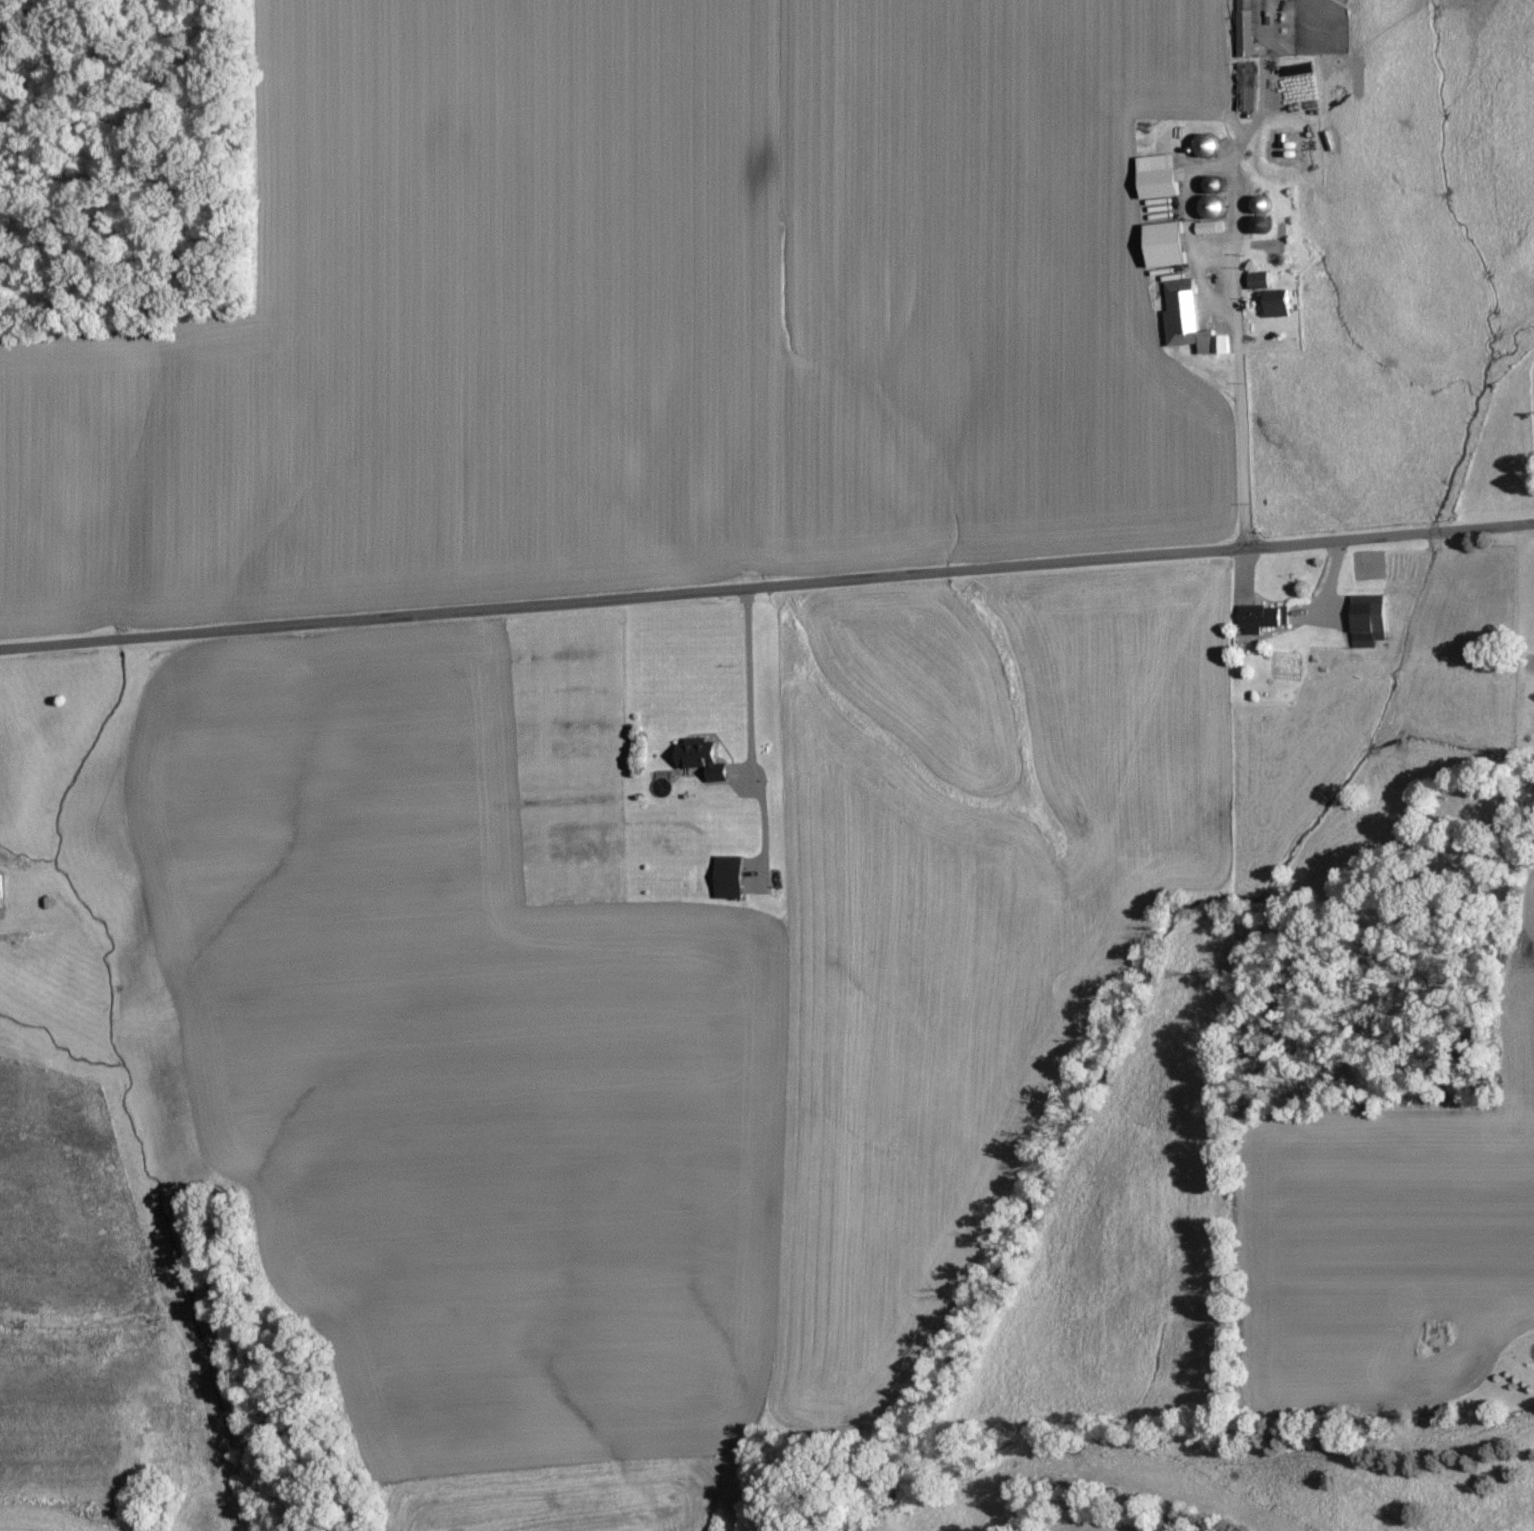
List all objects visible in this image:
building: (1242, 29)
building: (1156, 177)
building: (1163, 245)
building: (1257, 281)
building: (1279, 308)
building: (1187, 321)
road: (1239, 420)
road: (767, 590)
building: (1260, 618)
building: (1365, 620)
road: (744, 690)
building: (699, 758)
building: (726, 878)
building: (0, 898)

